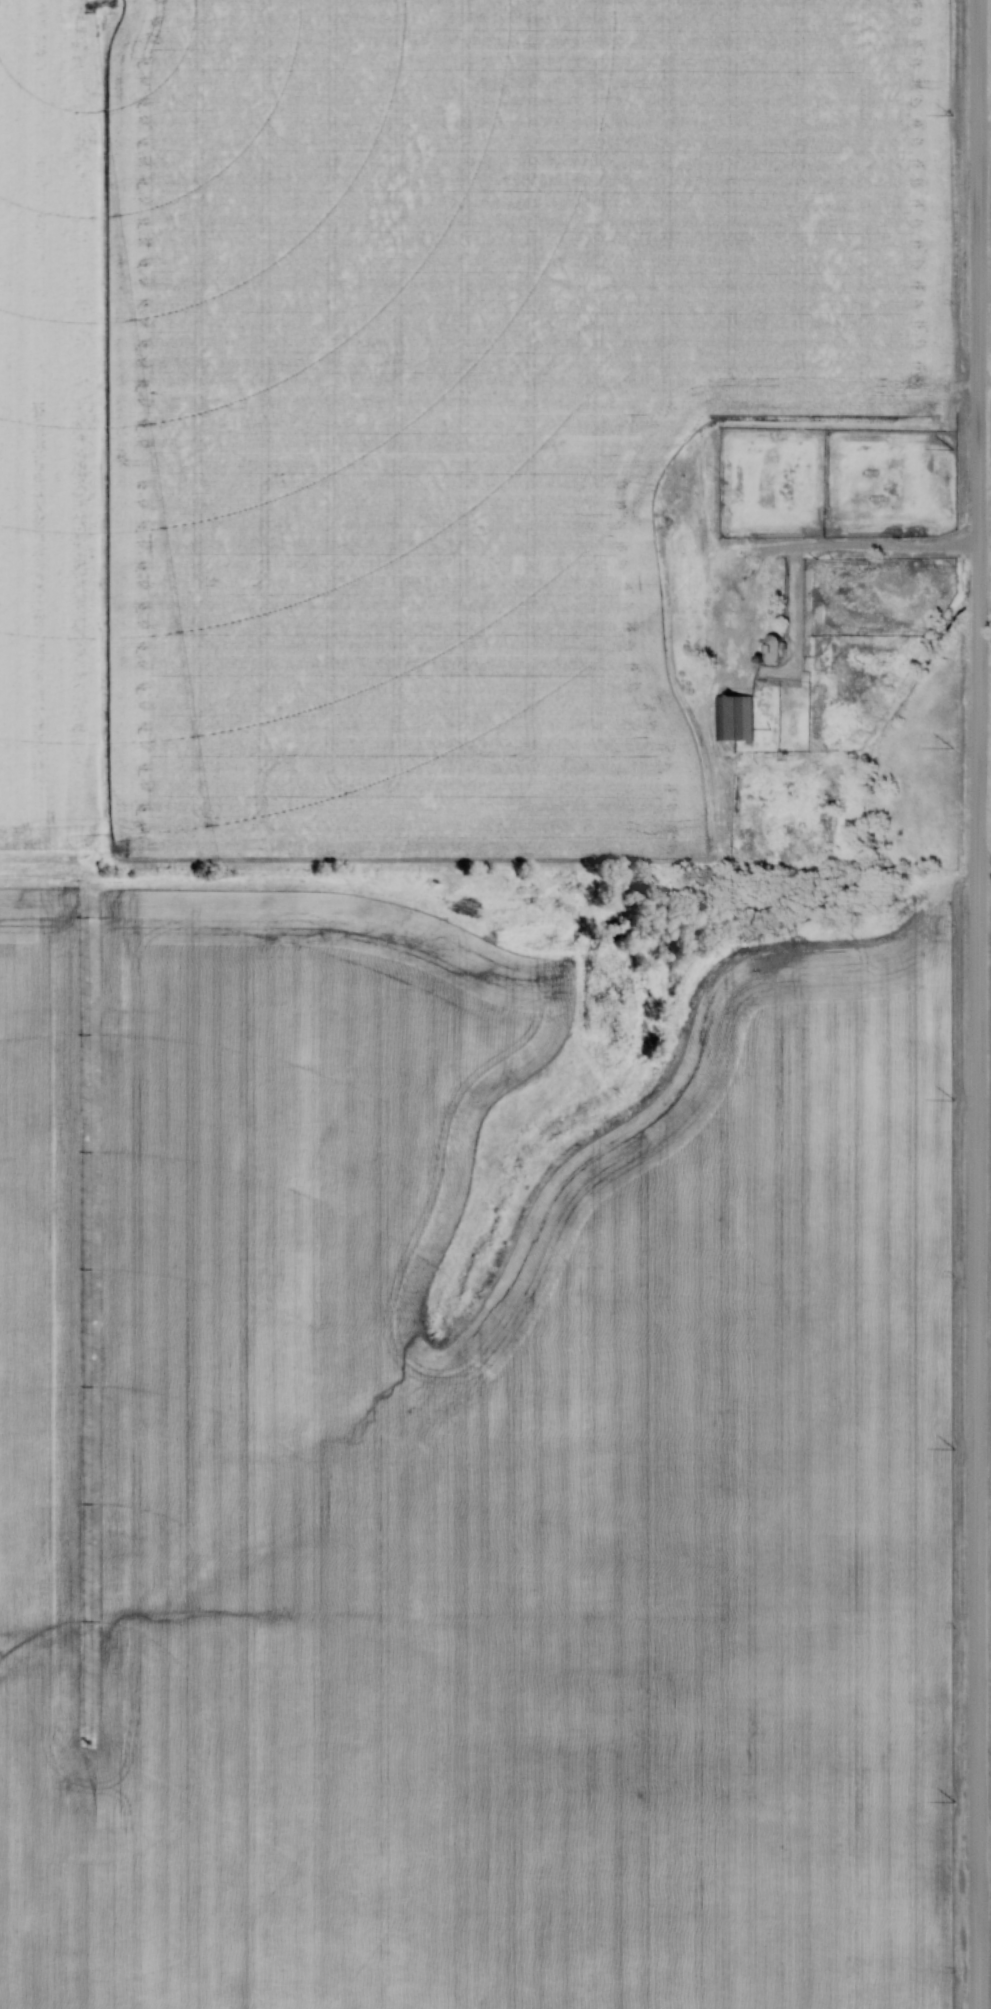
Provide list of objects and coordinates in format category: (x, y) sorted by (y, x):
road: (844, 551)
building: (734, 717)
road: (979, 1004)

